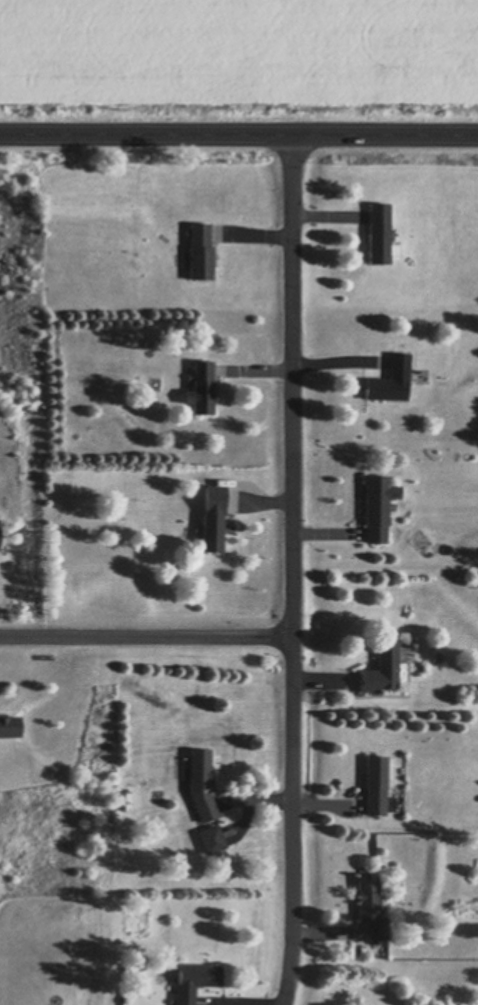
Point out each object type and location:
crop: (239, 62)
road: (239, 132)
building: (379, 232)
building: (202, 247)
building: (390, 379)
building: (201, 387)
building: (377, 506)
building: (213, 517)
road: (293, 569)
road: (146, 634)
building: (382, 666)
building: (9, 726)
building: (201, 783)
building: (376, 784)
building: (212, 838)
building: (371, 906)
building: (195, 980)

